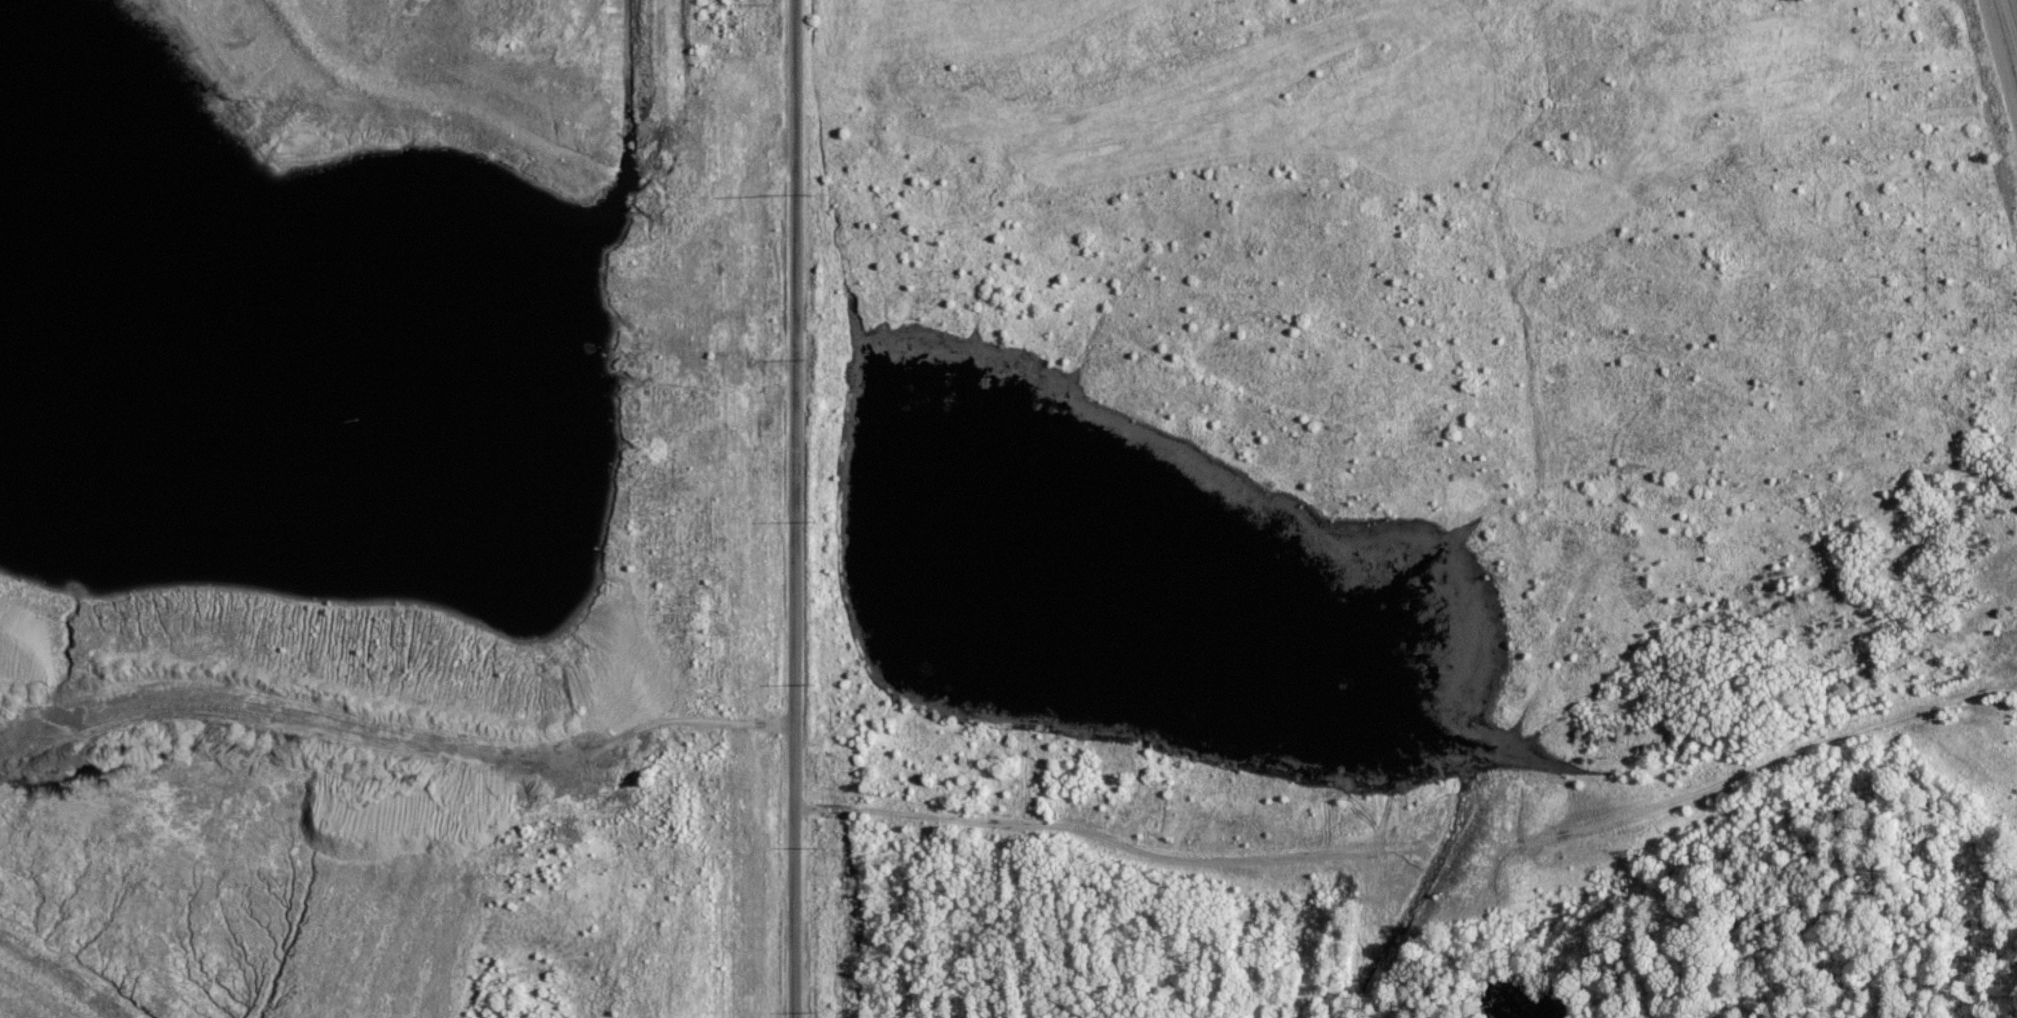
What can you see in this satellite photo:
road: (2006, 70)
quarry: (380, 486)
road: (790, 509)

